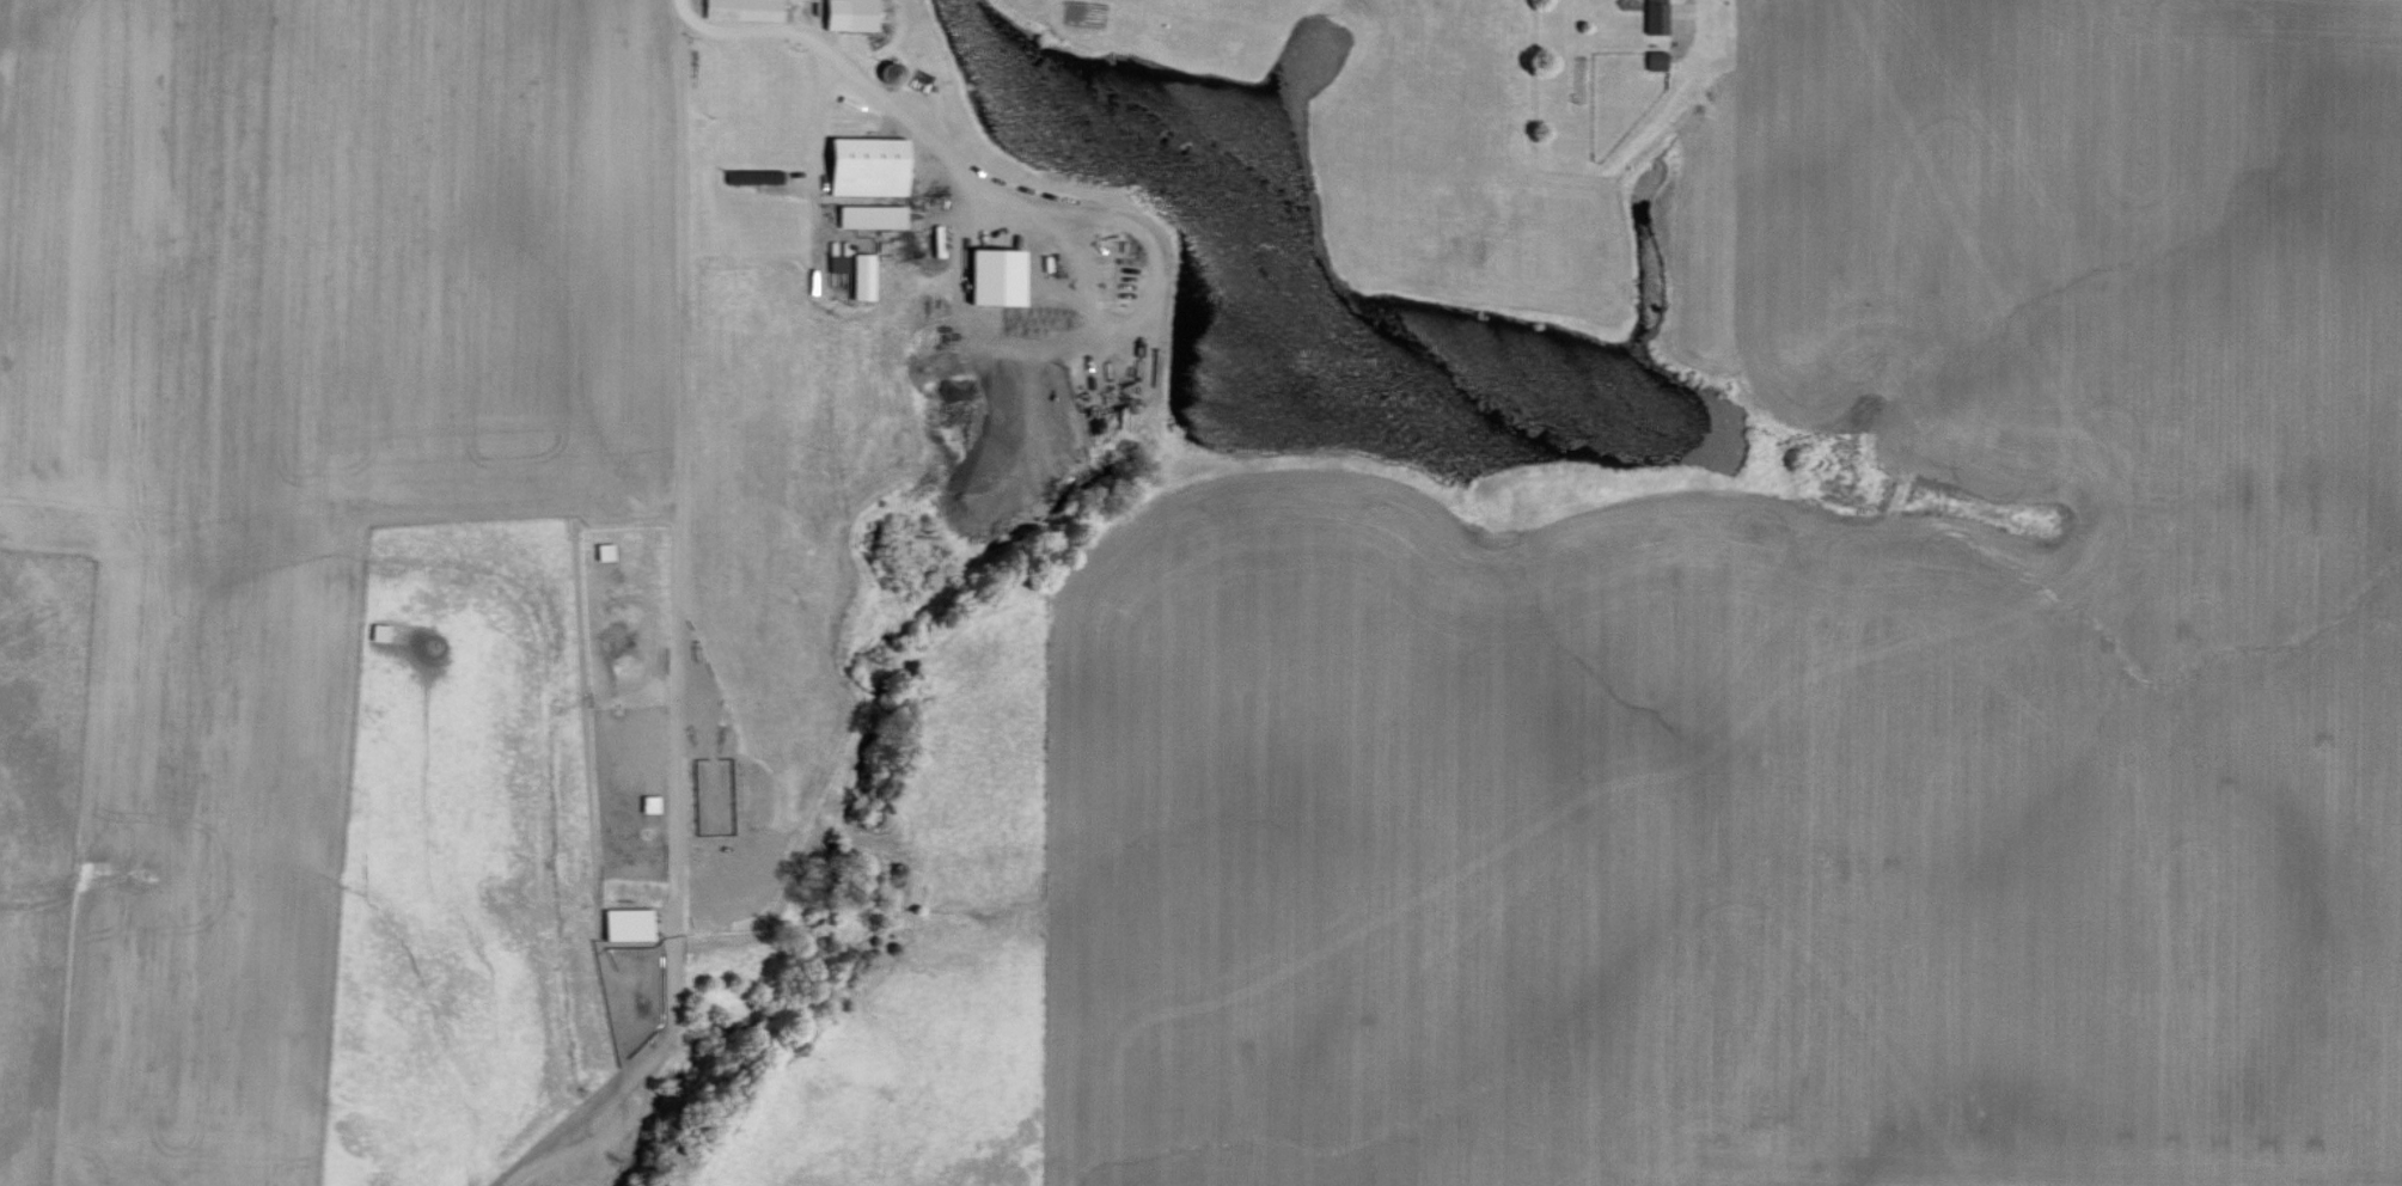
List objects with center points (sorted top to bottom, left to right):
road: (1688, 0)
building: (739, 10)
building: (846, 16)
building: (1652, 61)
building: (861, 166)
building: (868, 216)
building: (857, 276)
building: (988, 276)
building: (632, 924)

